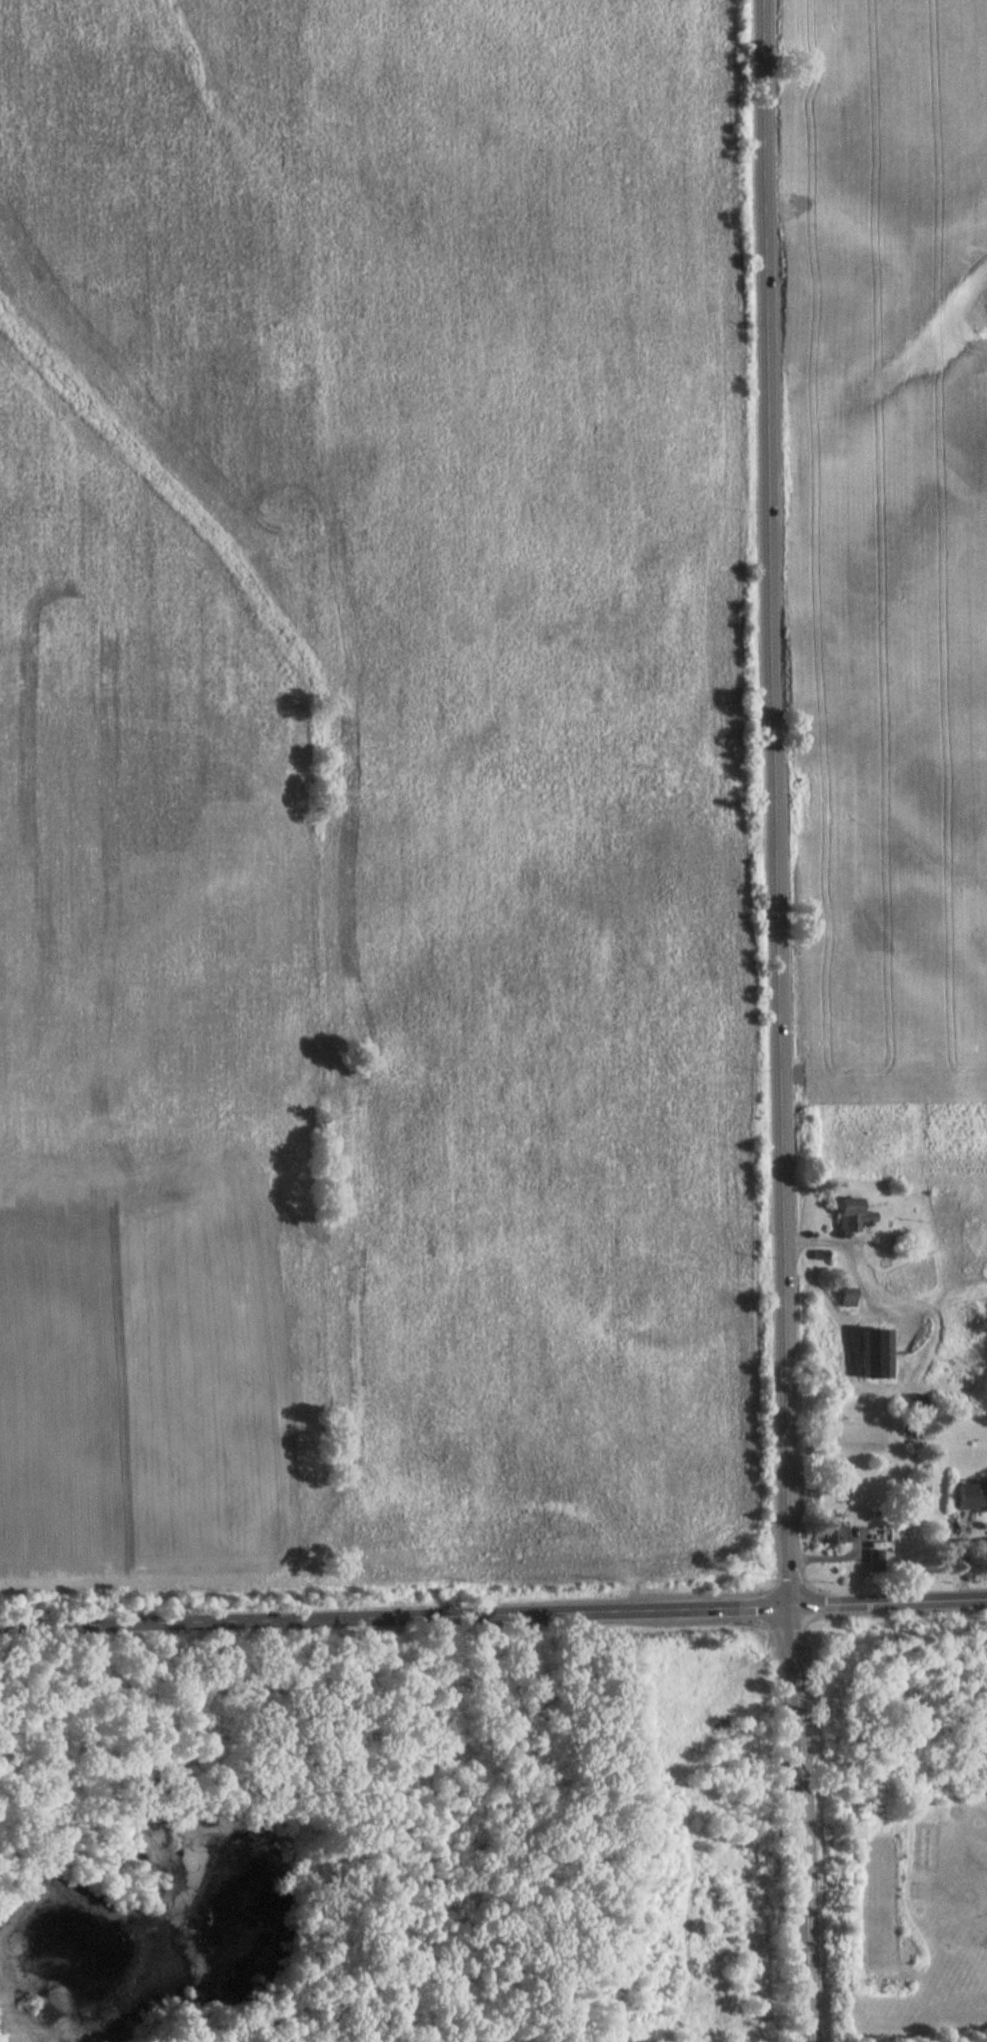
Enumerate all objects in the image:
crop: (892, 547)
crop: (372, 796)
road: (782, 1021)
building: (851, 1215)
building: (846, 1299)
building: (873, 1352)
building: (970, 1497)
building: (832, 1535)
building: (876, 1554)
road: (839, 1558)
road: (960, 1560)
road: (891, 1601)
road: (397, 1614)
road: (691, 1827)
road: (615, 2039)

